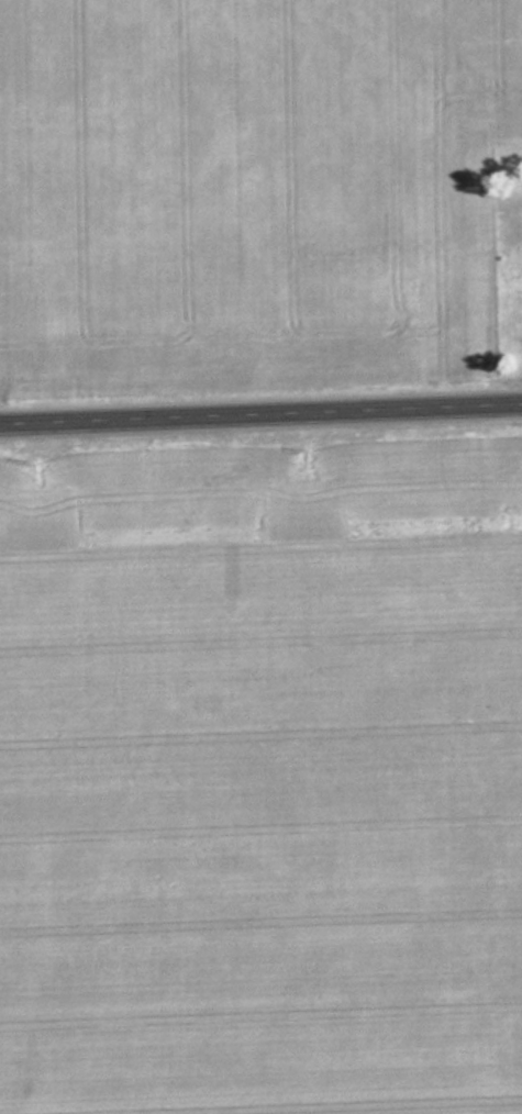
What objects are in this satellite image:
road: (260, 412)

